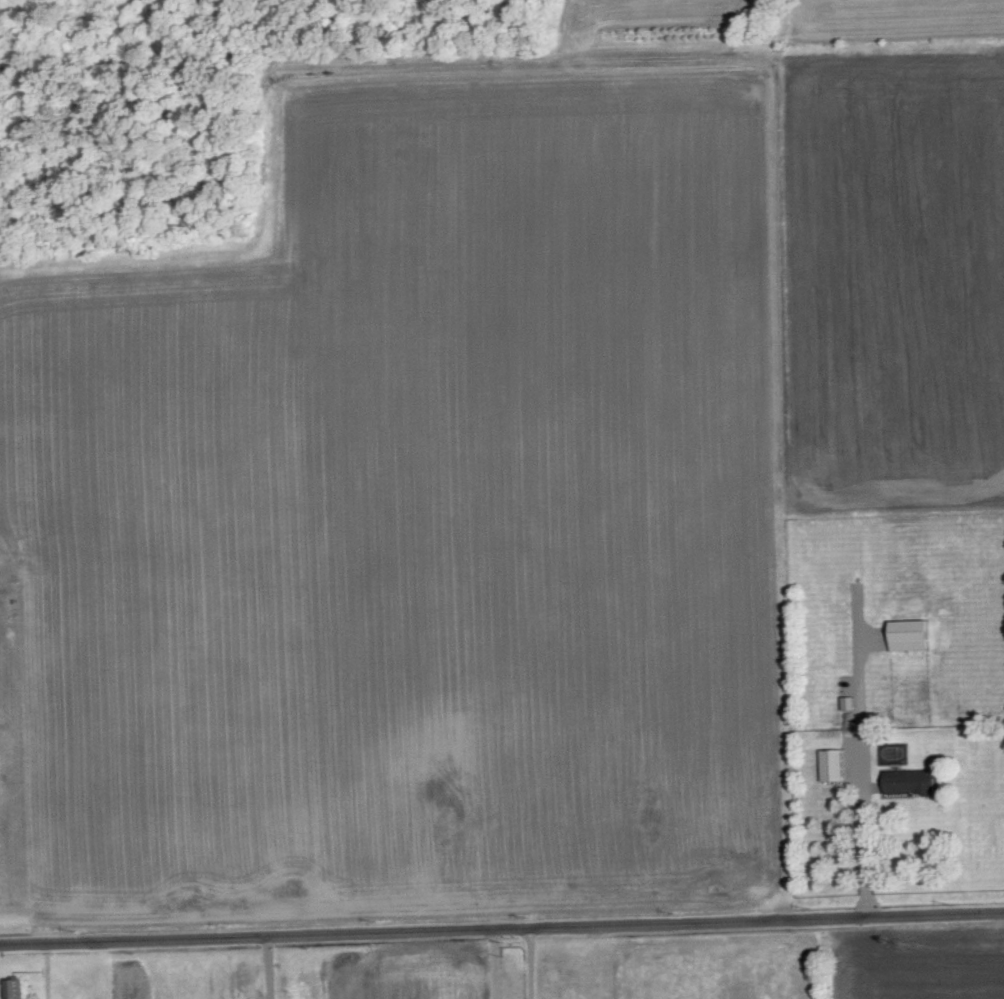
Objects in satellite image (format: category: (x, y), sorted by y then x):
building: (909, 636)
building: (832, 766)
building: (909, 782)
road: (866, 845)
road: (502, 930)
road: (532, 964)
road: (495, 965)
road: (269, 968)
building: (13, 989)

